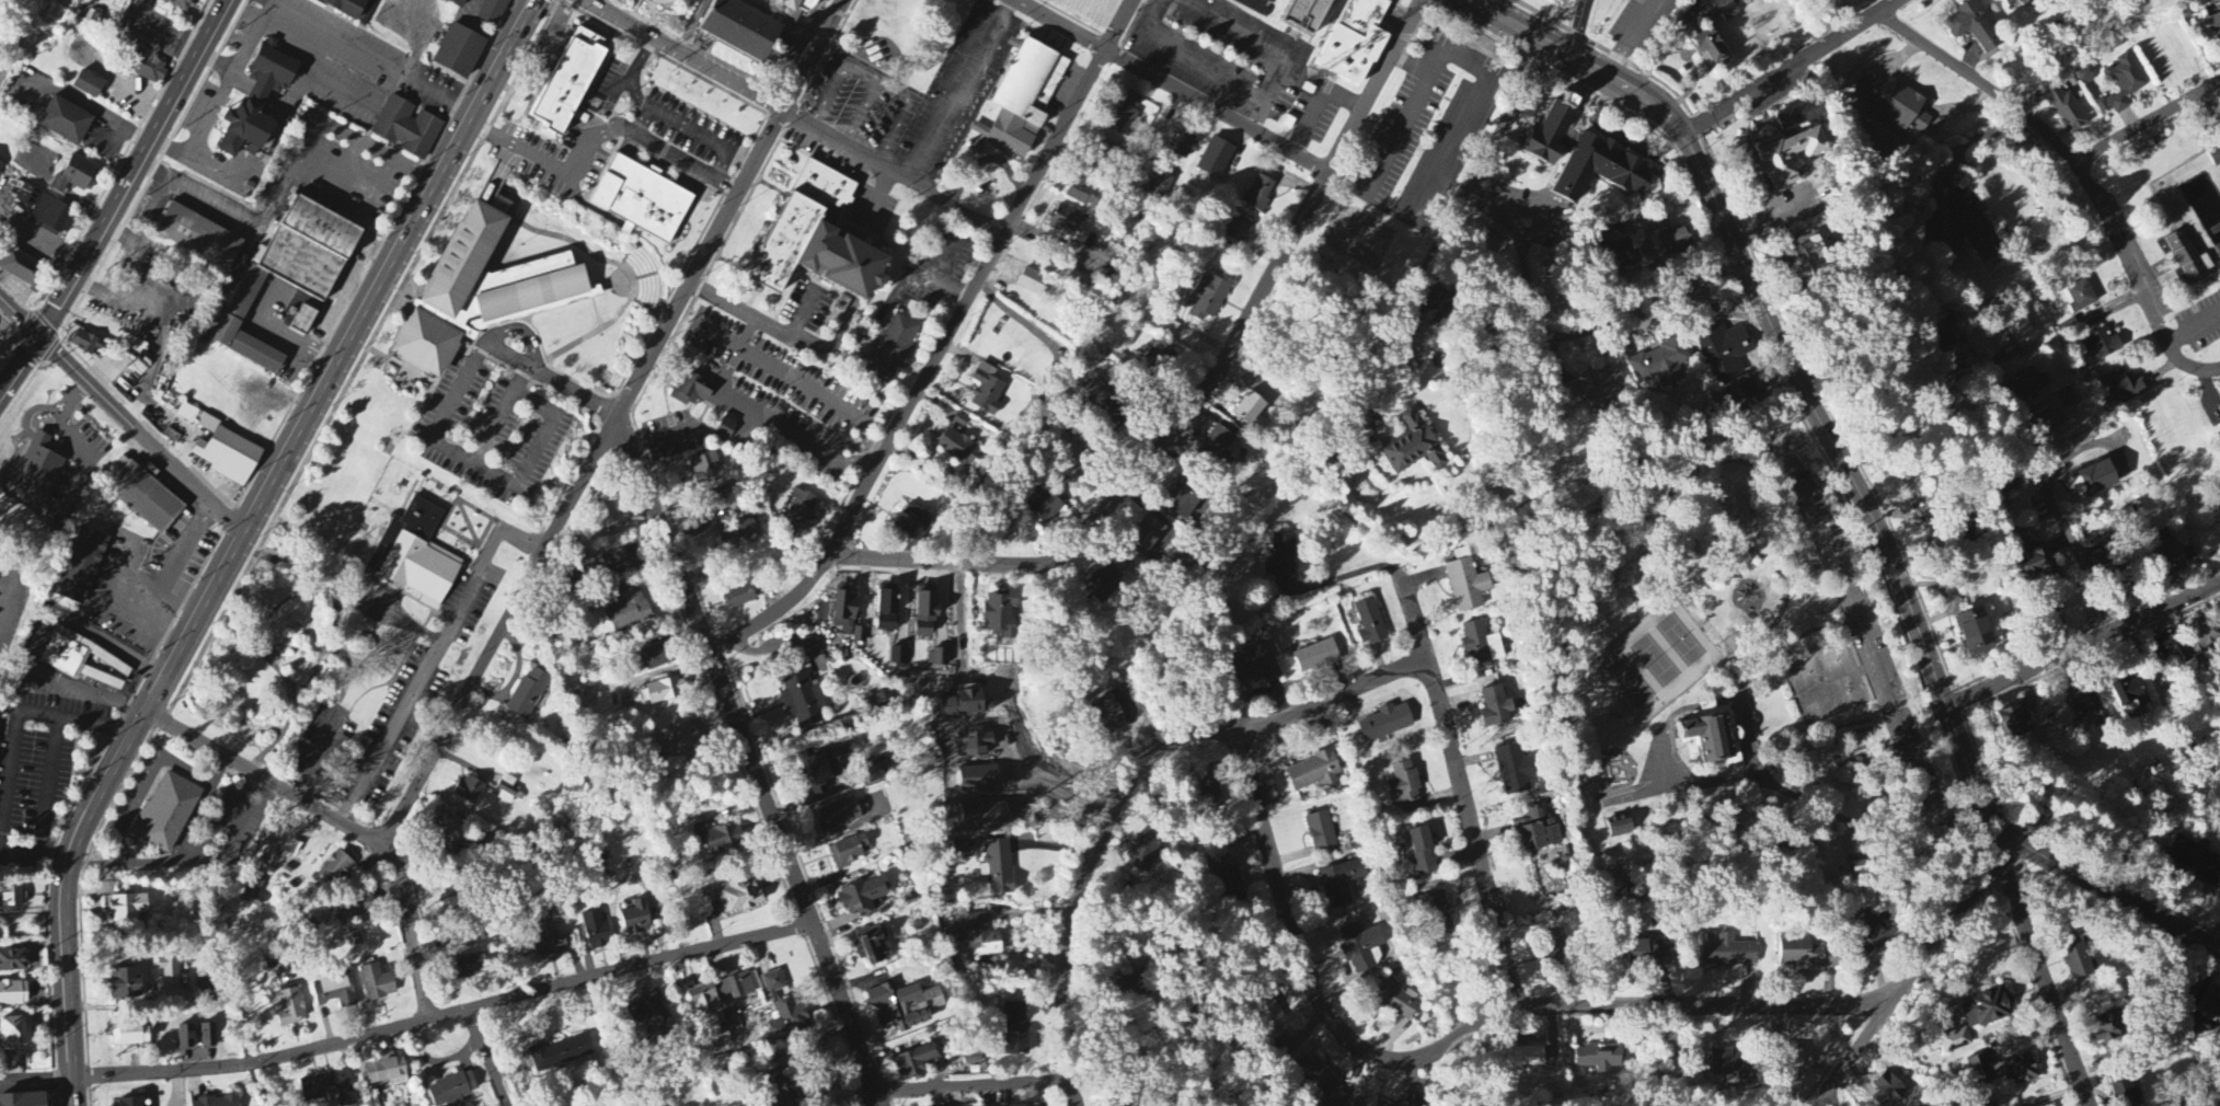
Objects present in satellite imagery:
building: (1741, 1)
building: (649, 2)
road: (271, 3)
building: (456, 3)
building: (2008, 3)
building: (179, 4)
building: (792, 4)
building: (1699, 4)
building: (347, 7)
building: (1726, 10)
road: (284, 11)
building: (493, 12)
building: (1307, 18)
building: (2216, 24)
road: (1124, 25)
road: (1583, 26)
building: (1972, 26)
building: (748, 32)
road: (1630, 36)
building: (1355, 42)
road: (1262, 43)
building: (1710, 49)
building: (459, 51)
road: (683, 56)
road: (1184, 61)
road: (1786, 65)
road: (218, 66)
building: (142, 67)
building: (269, 72)
road: (633, 73)
building: (2085, 76)
building: (572, 80)
road: (619, 80)
road: (1981, 82)
building: (88, 85)
road: (1173, 85)
building: (2123, 85)
road: (967, 93)
building: (1032, 101)
road: (1322, 102)
building: (1894, 103)
road: (90, 107)
building: (1125, 111)
road: (1472, 111)
building: (2069, 112)
building: (1798, 117)
road: (1258, 118)
road: (643, 120)
road: (1510, 120)
road: (2150, 120)
building: (65, 122)
building: (407, 128)
building: (243, 130)
road: (598, 133)
road: (701, 136)
road: (1400, 136)
building: (1183, 145)
building: (1581, 157)
building: (2215, 157)
building: (1786, 158)
building: (1216, 159)
building: (1, 166)
road: (895, 173)
building: (76, 175)
road: (291, 177)
flagpole: (991, 180)
road: (130, 186)
building: (1160, 186)
building: (1083, 194)
building: (1258, 195)
building: (648, 198)
road: (734, 205)
building: (47, 212)
park: (2175, 219)
building: (1065, 220)
building: (1963, 224)
building: (1238, 231)
building: (819, 234)
building: (187, 240)
road: (41, 241)
building: (1676, 243)
building: (300, 249)
building: (1815, 253)
building: (1627, 255)
building: (2189, 260)
building: (21, 268)
road: (2139, 279)
building: (482, 283)
building: (1033, 283)
building: (1210, 296)
building: (2081, 298)
building: (230, 306)
building: (1436, 307)
road: (1762, 307)
road: (1637, 310)
building: (299, 320)
building: (1173, 323)
road: (779, 329)
building: (2020, 332)
road: (749, 333)
building: (1579, 333)
traffic signals: (44, 336)
road: (720, 337)
building: (1943, 337)
building: (88, 345)
building: (2102, 346)
building: (77, 347)
building: (893, 348)
building: (1725, 353)
building: (1157, 359)
road: (733, 361)
building: (1660, 365)
road: (931, 370)
road: (1452, 375)
road: (11, 383)
road: (801, 383)
building: (2029, 384)
building: (1752, 385)
road: (1201, 389)
building: (2121, 389)
building: (987, 390)
building: (1599, 390)
building: (691, 391)
road: (576, 393)
building: (1100, 394)
road: (732, 399)
building: (1249, 410)
building: (1300, 413)
road: (123, 414)
building: (188, 414)
building: (2048, 422)
building: (727, 427)
road: (435, 434)
road: (667, 436)
road: (797, 438)
road: (867, 440)
road: (735, 443)
building: (1412, 447)
building: (1218, 448)
road: (534, 452)
building: (958, 453)
building: (217, 458)
road: (859, 458)
building: (704, 468)
building: (1074, 468)
building: (24, 471)
road: (2037, 477)
building: (2093, 482)
building: (1182, 497)
building: (723, 498)
building: (135, 499)
building: (1045, 506)
building: (800, 511)
building: (618, 516)
road: (251, 523)
building: (913, 523)
building: (737, 533)
building: (1147, 533)
building: (414, 556)
building: (1282, 556)
building: (2170, 557)
building: (620, 563)
building: (2038, 564)
building: (72, 567)
road: (168, 579)
building: (1466, 583)
building: (1103, 586)
road: (186, 595)
building: (738, 597)
building: (887, 609)
building: (628, 611)
building: (844, 611)
building: (925, 612)
building: (1000, 614)
building: (1369, 622)
road: (502, 630)
building: (1976, 633)
building: (860, 636)
building: (2201, 642)
road: (2083, 644)
building: (1481, 645)
building: (2171, 649)
building: (1316, 657)
building: (654, 658)
building: (898, 658)
building: (938, 659)
building: (83, 661)
road: (434, 663)
building: (1261, 666)
park: (1737, 678)
building: (665, 691)
building: (529, 694)
road: (1330, 699)
building: (803, 702)
building: (882, 702)
building: (2075, 705)
road: (10, 706)
building: (1495, 707)
building: (1111, 713)
building: (2013, 718)
building: (2102, 718)
building: (1387, 723)
road: (1445, 731)
building: (680, 738)
building: (1713, 738)
building: (2194, 740)
road: (13, 754)
road: (751, 757)
building: (825, 769)
road: (186, 770)
building: (876, 770)
building: (1515, 770)
road: (1972, 771)
building: (1314, 773)
road: (265, 781)
road: (49, 784)
building: (1405, 786)
building: (506, 790)
building: (468, 792)
building: (1211, 793)
road: (139, 796)
road: (264, 797)
building: (165, 814)
building: (839, 817)
building: (1620, 826)
building: (448, 828)
building: (1537, 831)
building: (1322, 833)
building: (718, 838)
road: (119, 850)
building: (1144, 851)
road: (193, 852)
building: (848, 852)
building: (1423, 852)
building: (2194, 859)
road: (159, 864)
road: (193, 866)
building: (999, 867)
building: (335, 869)
building: (1864, 871)
road: (1092, 883)
building: (1342, 883)
building: (1229, 884)
road: (2110, 891)
building: (254, 892)
building: (739, 895)
building: (11, 896)
building: (863, 897)
building: (1436, 906)
building: (359, 907)
building: (128, 909)
building: (636, 919)
road: (1953, 921)
building: (596, 930)
road: (416, 931)
building: (980, 936)
building: (1875, 937)
building: (551, 938)
building: (1556, 944)
building: (872, 946)
building: (1361, 947)
building: (1648, 953)
building: (1729, 953)
building: (1806, 954)
building: (2075, 958)
building: (13, 961)
building: (470, 964)
building: (169, 968)
road: (2044, 969)
building: (205, 983)
building: (377, 983)
building: (125, 984)
building: (736, 986)
building: (335, 990)
building: (13, 993)
building: (704, 1002)
building: (1396, 1002)
building: (2212, 1004)
building: (906, 1005)
building: (290, 1007)
building: (1989, 1007)
building: (784, 1010)
road: (444, 1015)
building: (648, 1023)
building: (2108, 1027)
building: (1014, 1029)
building: (15, 1035)
building: (129, 1035)
building: (207, 1037)
building: (185, 1038)
road: (1451, 1040)
building: (1955, 1040)
building: (560, 1053)
road: (1857, 1053)
building: (1530, 1057)
building: (1597, 1058)
road: (485, 1059)
building: (1793, 1060)
building: (915, 1062)
building: (1732, 1067)
building: (386, 1071)
building: (1979, 1071)
building: (2016, 1071)
building: (1322, 1082)
road: (974, 1084)
building: (327, 1088)
building: (1887, 1090)
road: (70, 1091)
building: (451, 1091)
building: (2125, 1092)
building: (779, 1096)
road: (873, 1097)
building: (24, 1099)
building: (131, 1102)
building: (216, 1102)
building: (1377, 1104)
building: (1033, 1105)

